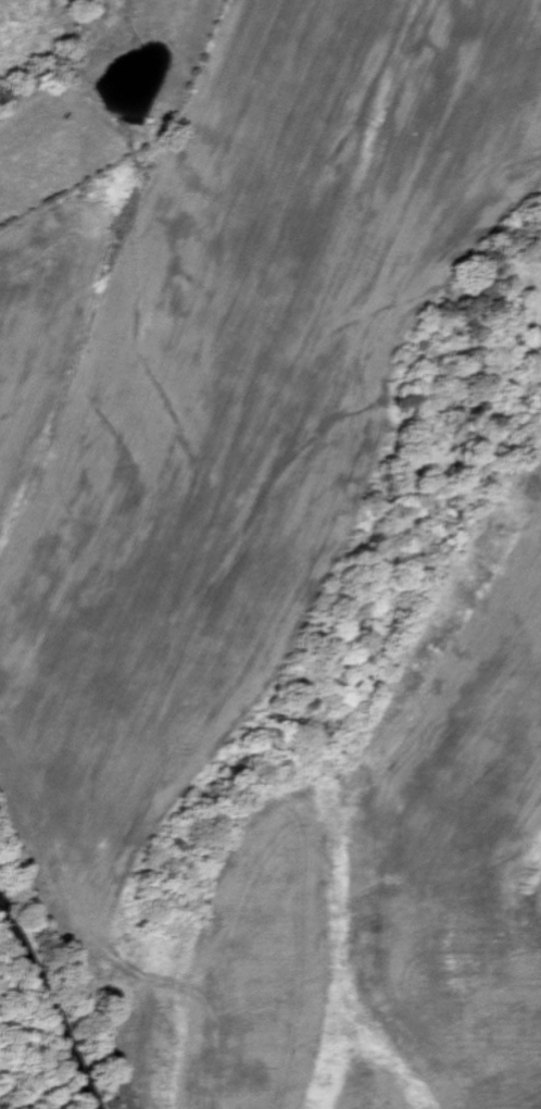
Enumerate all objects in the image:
road: (50, 1004)

